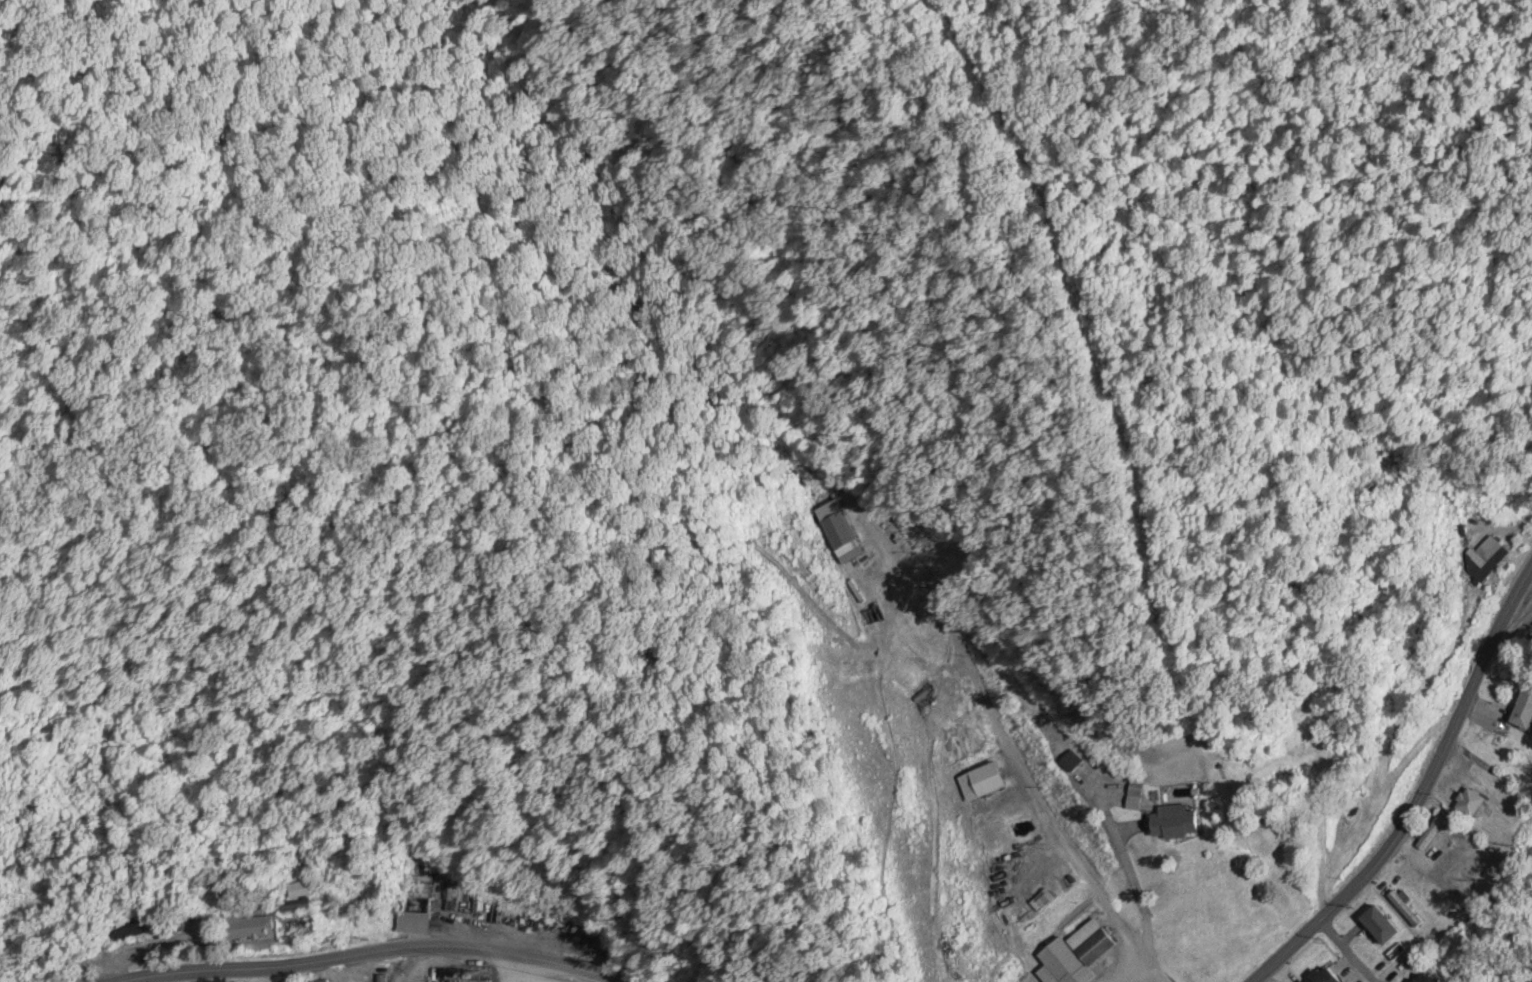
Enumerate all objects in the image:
building: (841, 533)
building: (1493, 549)
building: (1525, 711)
building: (1073, 763)
road: (1421, 793)
building: (1136, 798)
building: (1471, 804)
building: (1176, 823)
building: (1432, 833)
building: (1449, 850)
building: (1469, 868)
building: (418, 887)
building: (296, 899)
building: (453, 899)
building: (1405, 911)
building: (415, 923)
building: (1381, 926)
building: (247, 928)
building: (1092, 944)
road: (1348, 949)
road: (372, 954)
building: (1399, 954)
building: (1326, 976)
building: (1429, 980)

